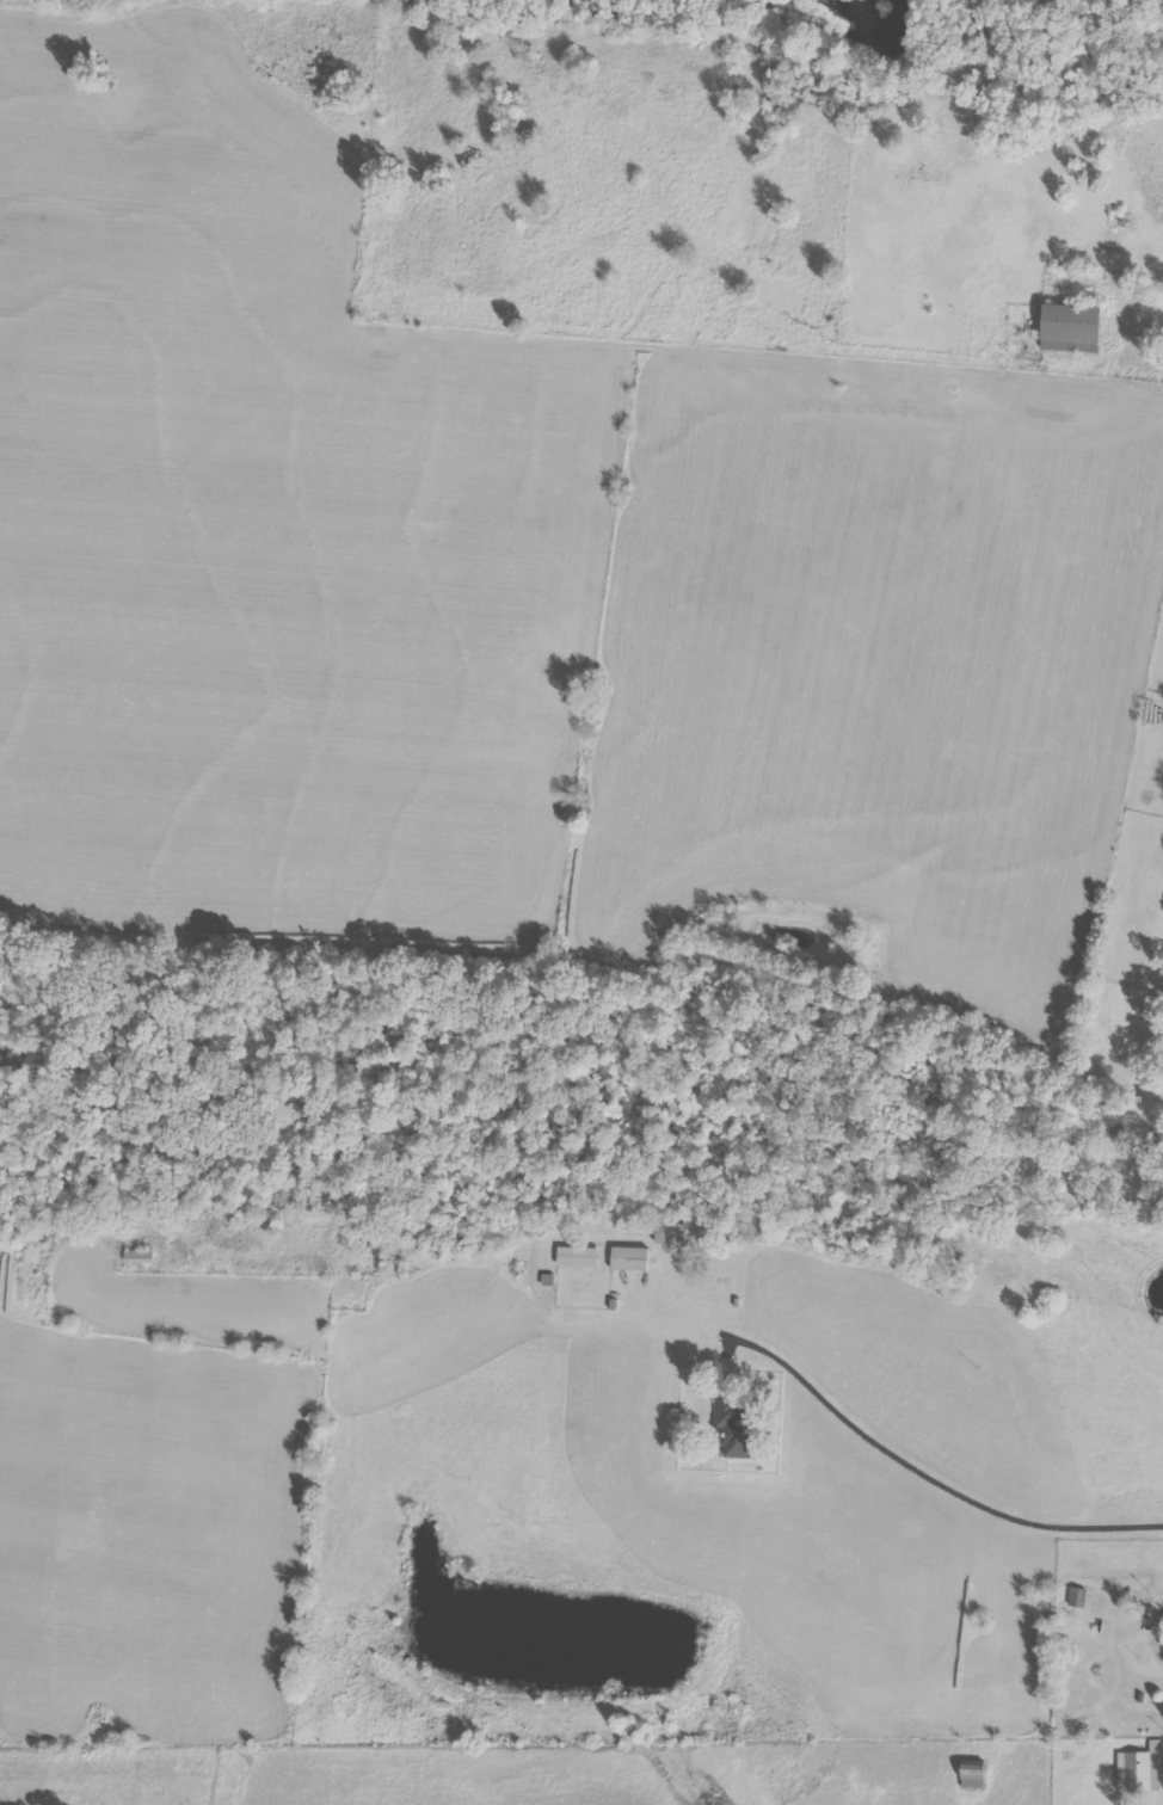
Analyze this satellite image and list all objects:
building: (1069, 327)
building: (669, 1233)
building: (577, 1257)
building: (629, 1258)
building: (548, 1281)
building: (734, 1429)
building: (1142, 1768)

